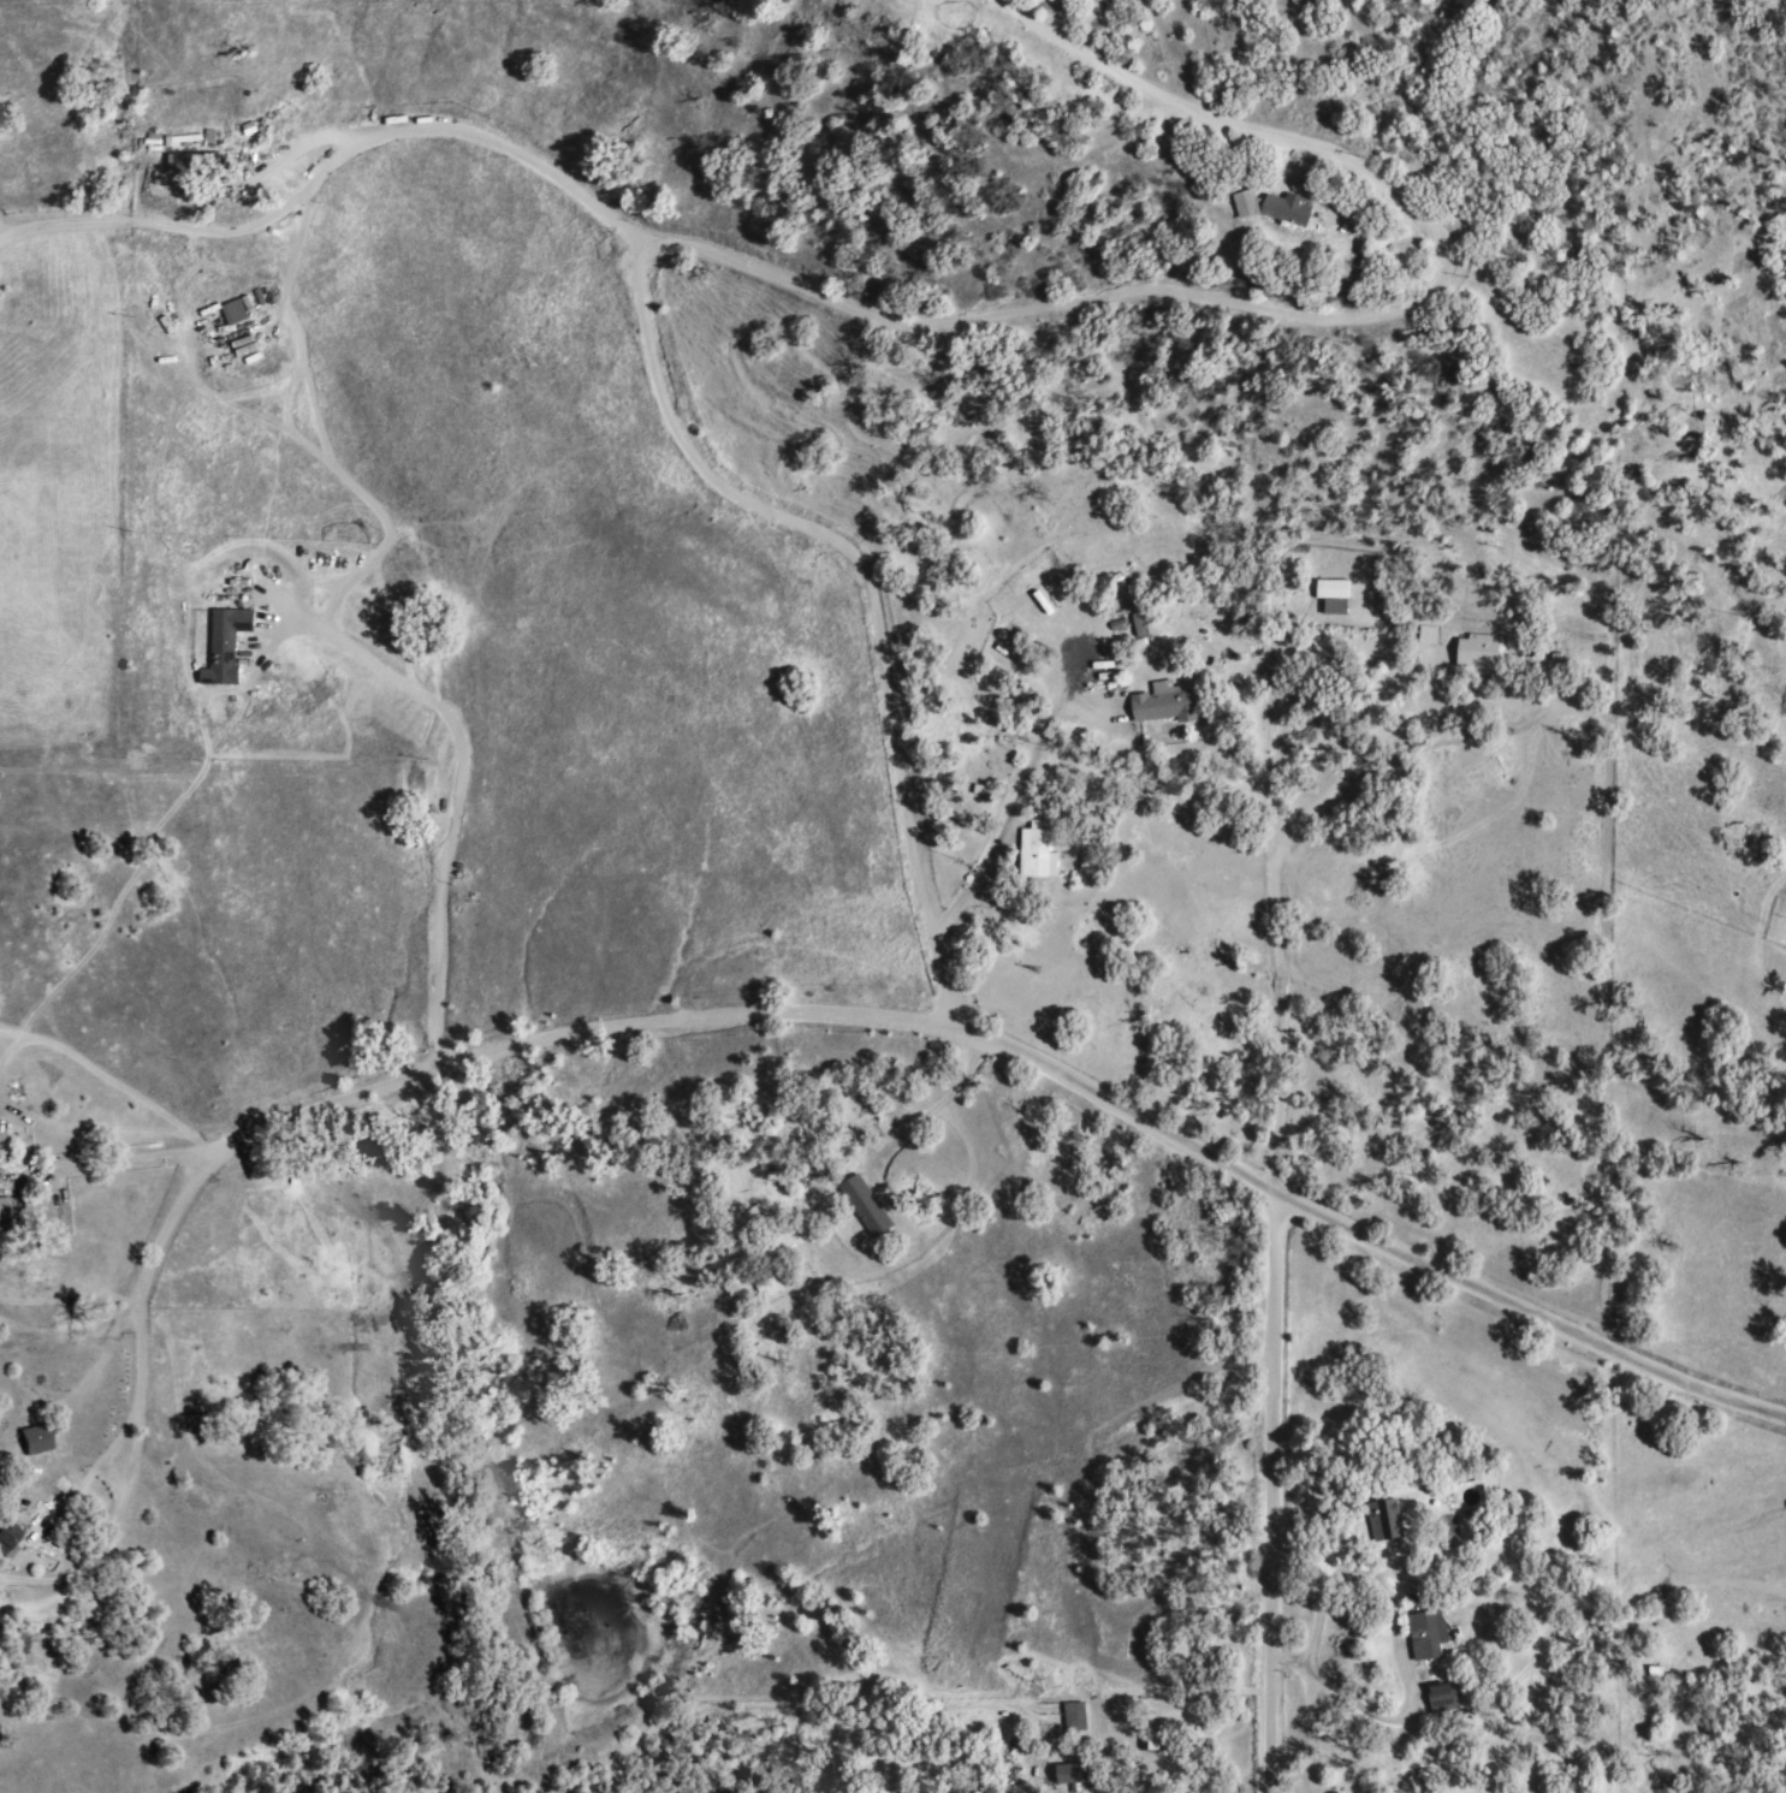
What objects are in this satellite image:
road: (1163, 95)
building: (183, 162)
road: (326, 168)
building: (1276, 208)
road: (1125, 292)
building: (238, 310)
road: (860, 589)
building: (1336, 596)
building: (1143, 627)
building: (227, 645)
building: (1481, 653)
building: (1168, 703)
road: (459, 784)
building: (1039, 851)
road: (1262, 881)
road: (951, 1029)
road: (130, 1163)
building: (868, 1206)
building: (5, 1215)
road: (143, 1432)
building: (37, 1439)
road: (1278, 1494)
building: (1389, 1521)
building: (8, 1540)
building: (1430, 1634)
road: (1398, 1645)
building: (1446, 1698)
building: (1078, 1718)
building: (1075, 1774)

